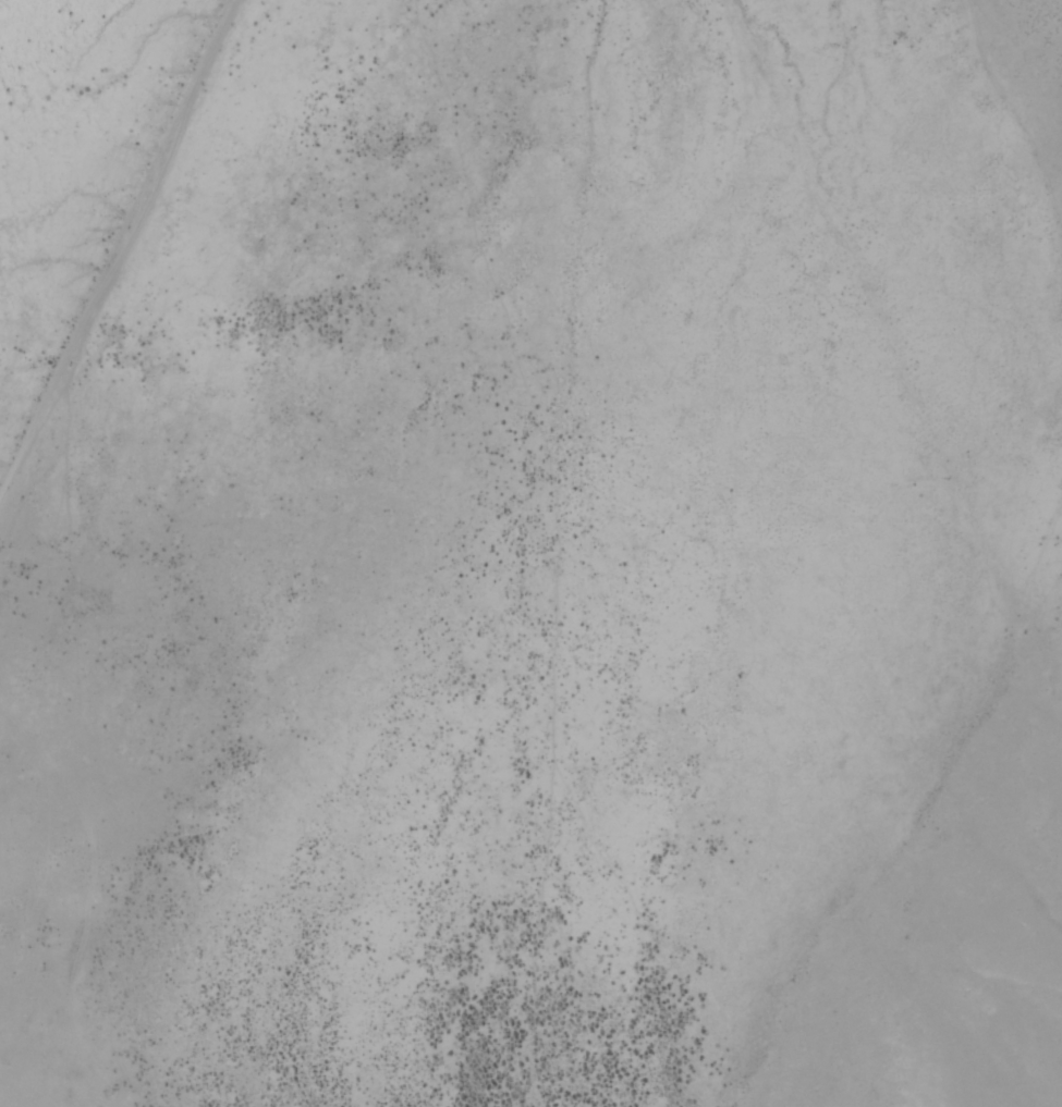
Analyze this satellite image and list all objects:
road: (129, 275)

